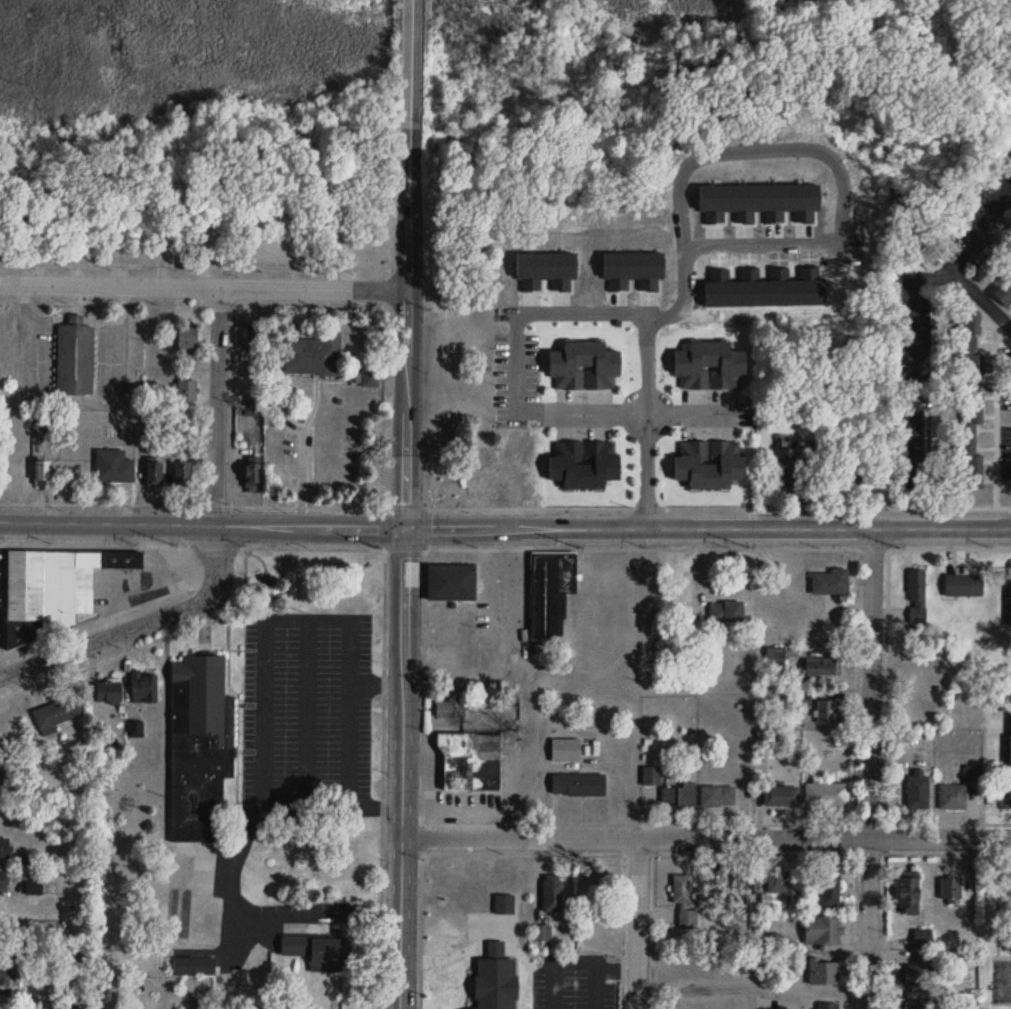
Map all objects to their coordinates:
road: (842, 203)
road: (979, 224)
road: (195, 264)
road: (407, 264)
road: (203, 285)
building: (1004, 290)
road: (979, 296)
road: (529, 310)
building: (187, 336)
building: (255, 336)
building: (966, 342)
building: (313, 355)
road: (912, 355)
building: (75, 359)
building: (585, 366)
building: (710, 366)
building: (368, 378)
building: (187, 390)
road: (217, 404)
building: (968, 435)
building: (584, 463)
building: (710, 463)
building: (114, 466)
building: (787, 467)
building: (43, 471)
building: (154, 473)
building: (182, 473)
building: (253, 475)
road: (115, 502)
road: (620, 507)
road: (202, 522)
road: (707, 527)
traffic signals: (404, 528)
road: (443, 547)
building: (452, 581)
building: (58, 582)
building: (830, 582)
building: (549, 584)
building: (964, 585)
building: (918, 596)
building: (727, 612)
road: (96, 618)
road: (140, 622)
road: (148, 643)
building: (776, 655)
building: (822, 667)
road: (262, 678)
road: (885, 685)
building: (145, 686)
road: (524, 688)
building: (109, 690)
building: (450, 708)
building: (58, 711)
road: (307, 711)
building: (827, 711)
road: (350, 745)
building: (201, 747)
building: (566, 750)
building: (471, 762)
road: (402, 768)
road: (870, 768)
building: (1009, 768)
building: (974, 773)
building: (652, 776)
road: (381, 778)
building: (577, 782)
building: (1, 784)
building: (918, 789)
building: (827, 794)
building: (680, 795)
building: (718, 796)
building: (782, 796)
building: (953, 797)
road: (706, 838)
building: (4, 848)
road: (674, 852)
road: (883, 867)
building: (3, 879)
building: (1007, 882)
building: (779, 883)
building: (34, 887)
building: (829, 888)
building: (951, 889)
building: (739, 890)
building: (553, 894)
building: (909, 896)
road: (854, 901)
building: (684, 902)
road: (100, 914)
road: (239, 916)
road: (636, 923)
building: (823, 931)
building: (924, 938)
building: (8, 951)
building: (320, 951)
road: (573, 962)
building: (194, 965)
building: (826, 972)
building: (914, 972)
building: (7, 977)
parking lot: (1001, 978)
road: (752, 986)
road: (596, 987)
building: (917, 1003)
building: (828, 1005)
building: (192, 1006)
building: (0, 1008)

